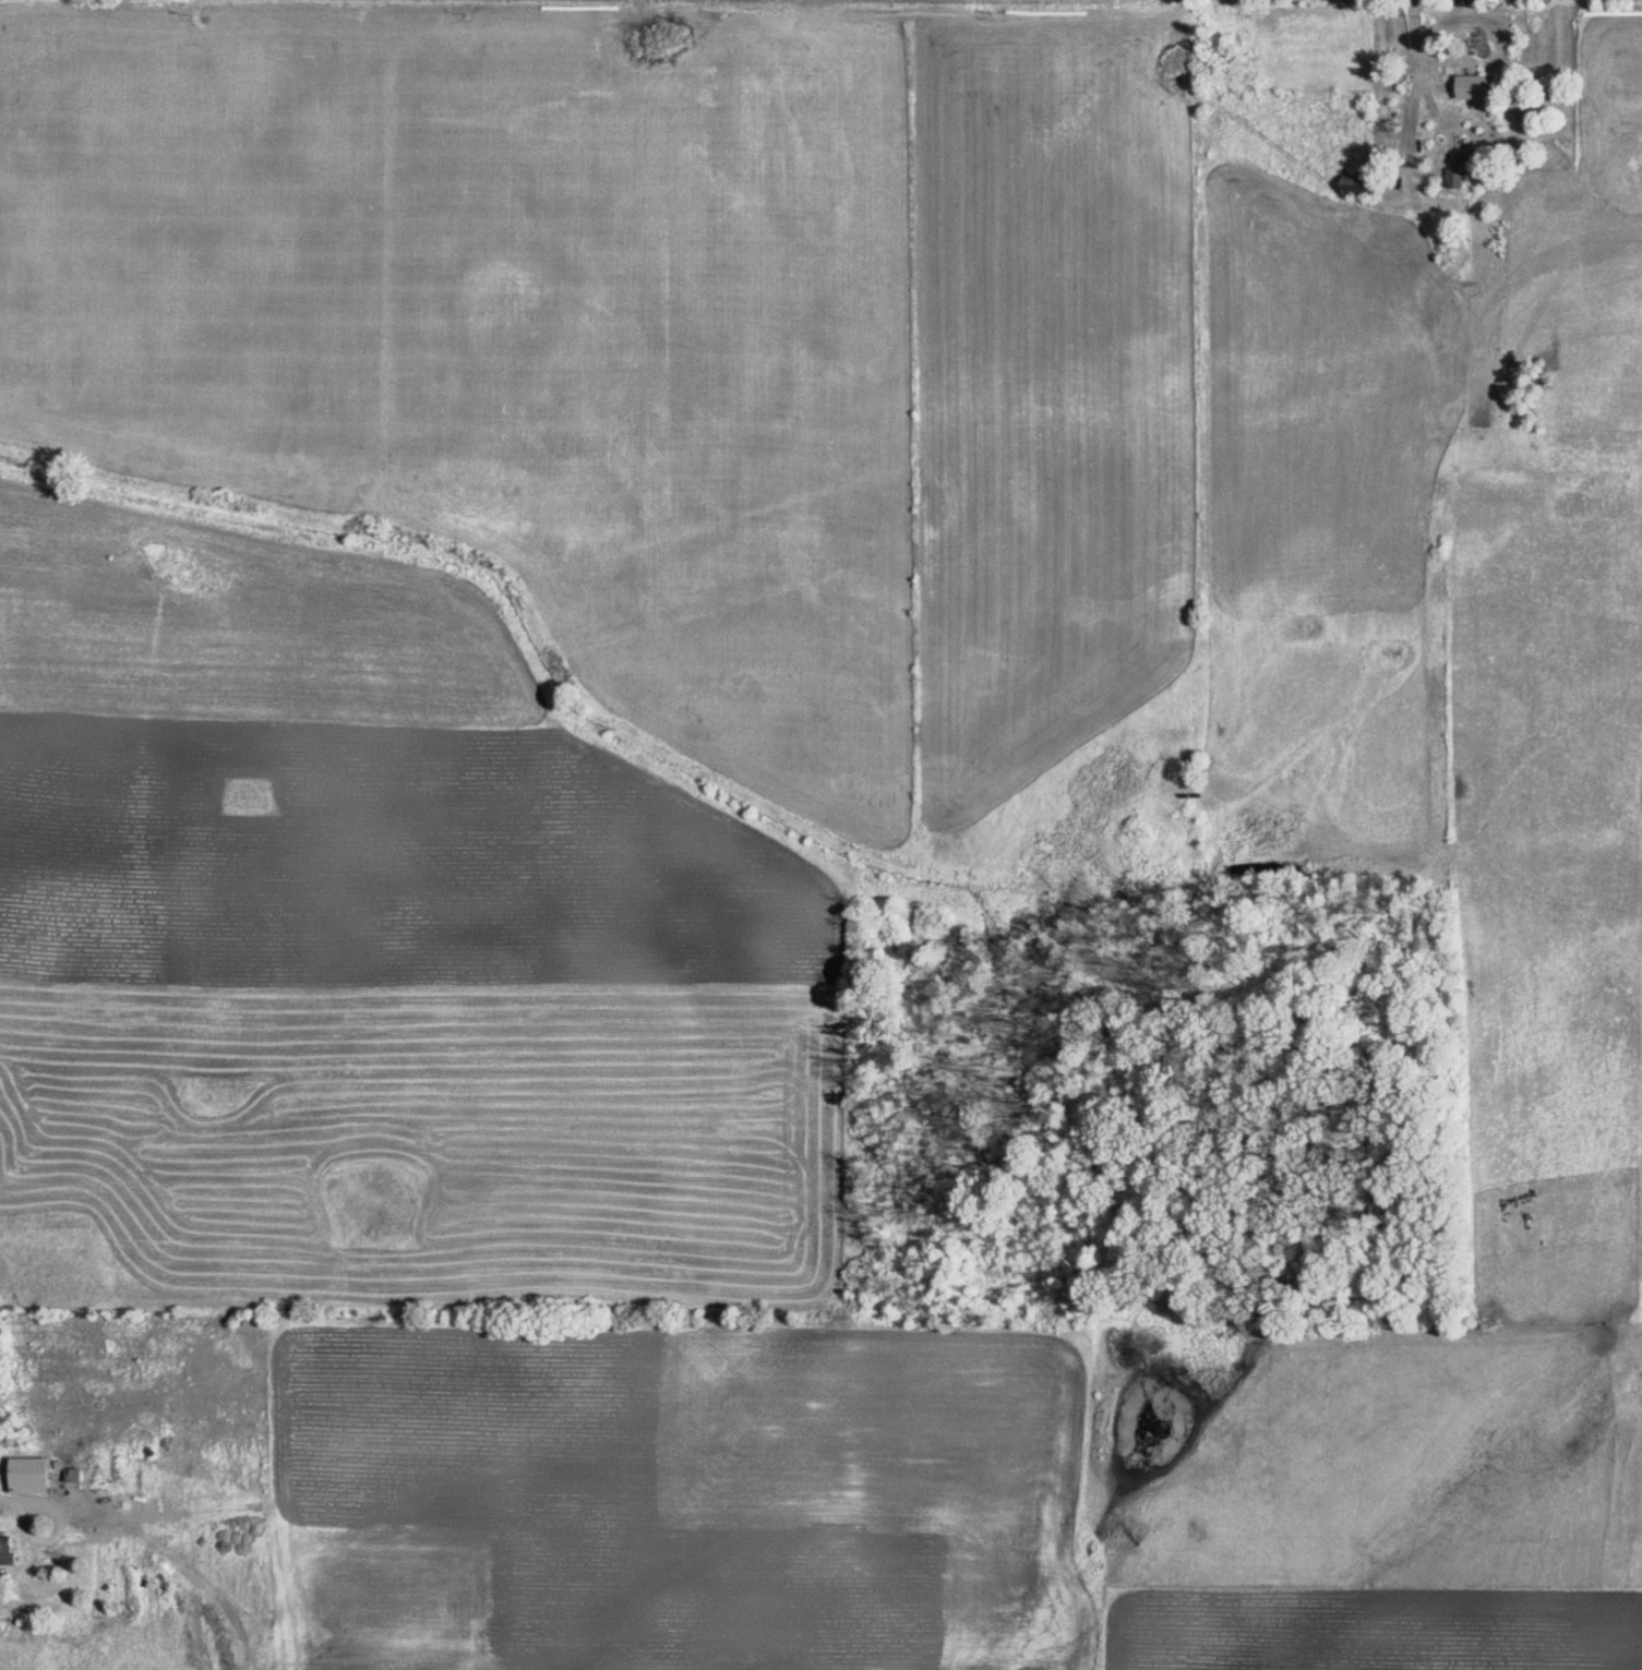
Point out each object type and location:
road: (1419, 39)
building: (1483, 91)
road: (1431, 172)
building: (1459, 182)
building: (1363, 188)
road: (15, 1495)
building: (159, 1539)
building: (10, 1552)

